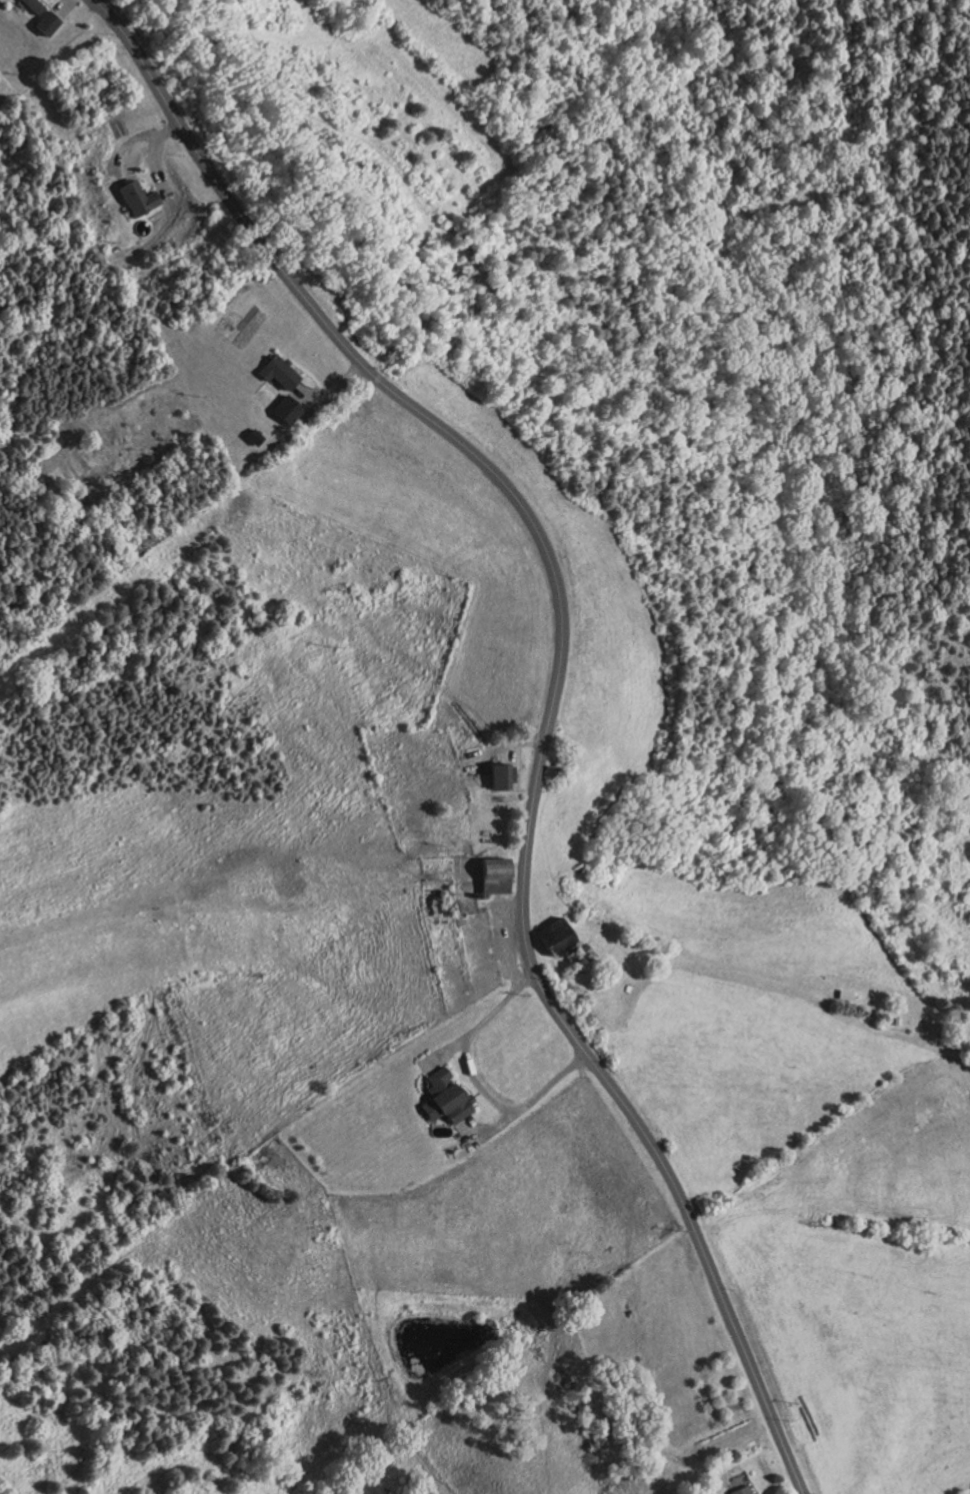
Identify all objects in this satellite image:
road: (15, 8)
road: (65, 8)
building: (46, 17)
road: (125, 146)
road: (159, 161)
building: (143, 197)
building: (280, 372)
road: (330, 386)
building: (287, 409)
road: (550, 698)
road: (506, 745)
building: (503, 775)
building: (497, 876)
building: (557, 935)
building: (585, 949)
building: (847, 994)
building: (898, 1020)
road: (444, 1051)
road: (476, 1082)
building: (447, 1097)
road: (487, 1129)
building: (742, 1490)

